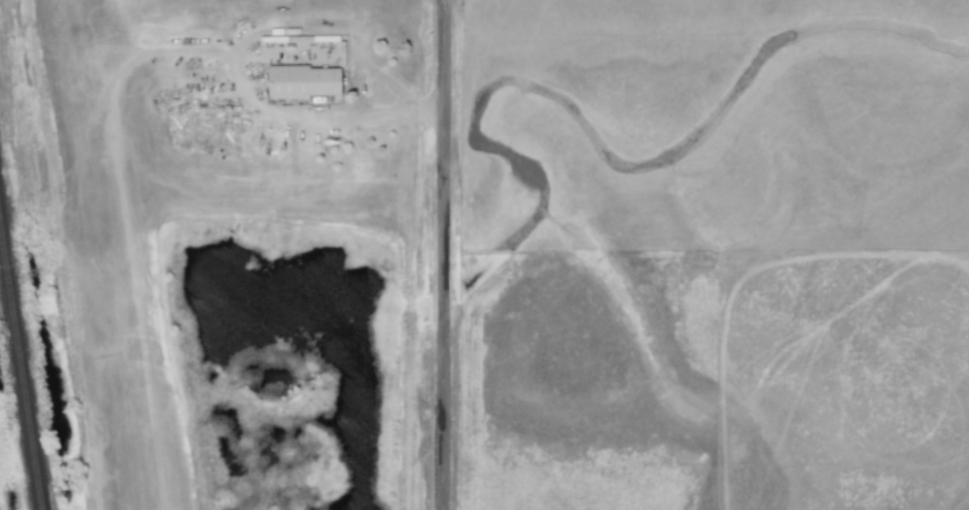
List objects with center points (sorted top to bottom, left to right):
road: (247, 41)
building: (302, 81)
road: (356, 86)
road: (445, 255)
railway: (22, 356)

